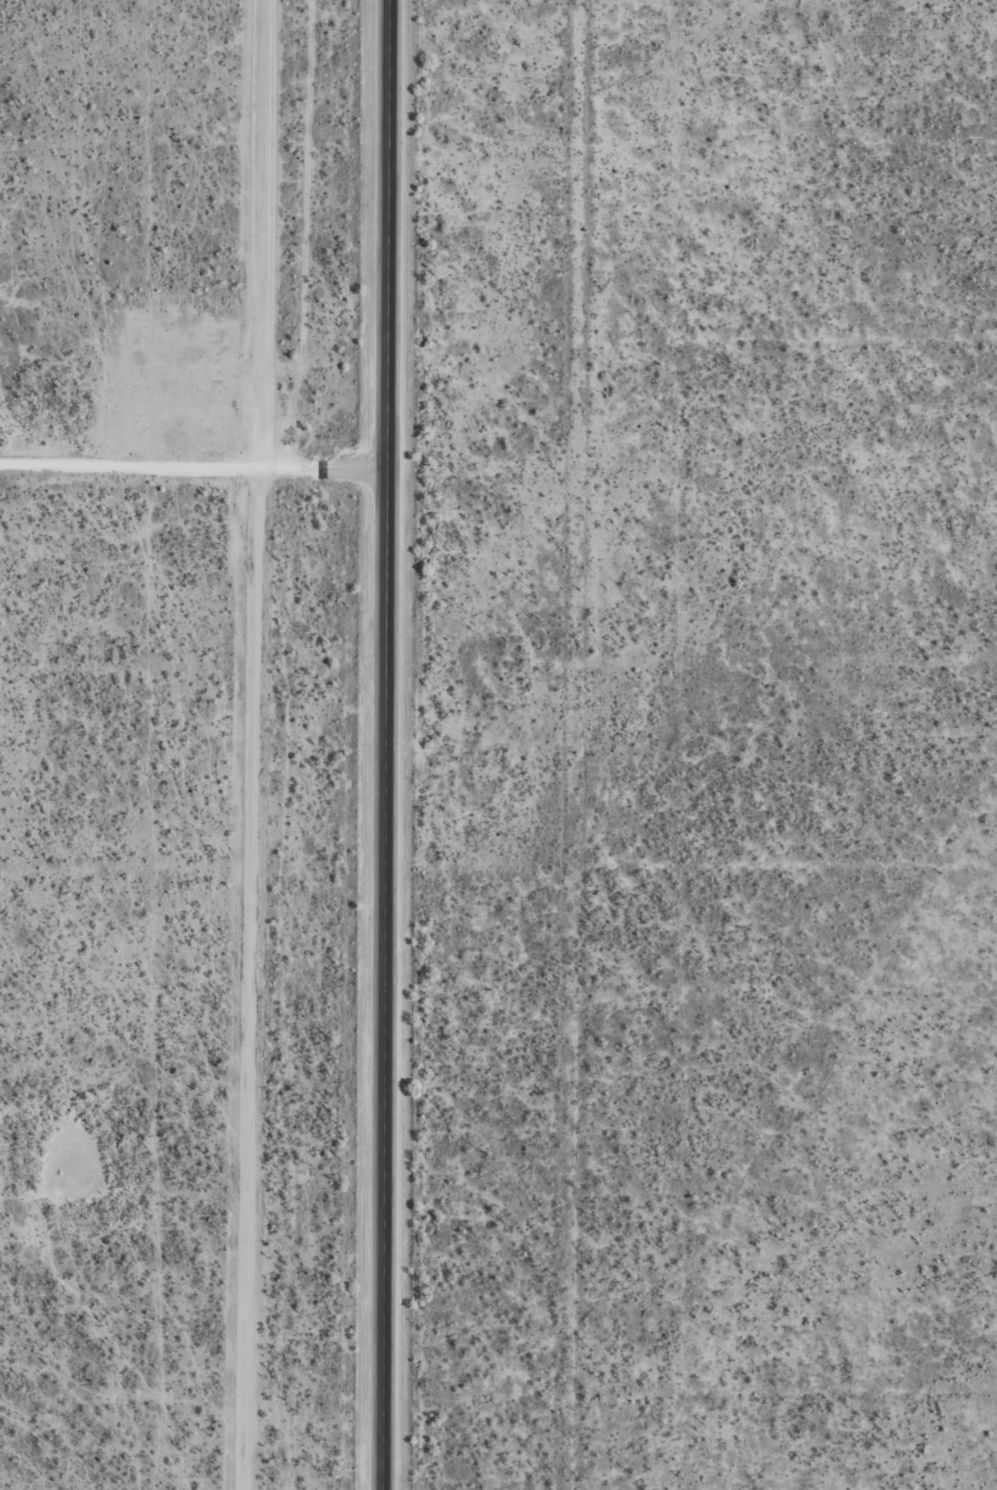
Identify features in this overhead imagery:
road: (240, 222)
road: (191, 444)
road: (381, 744)

